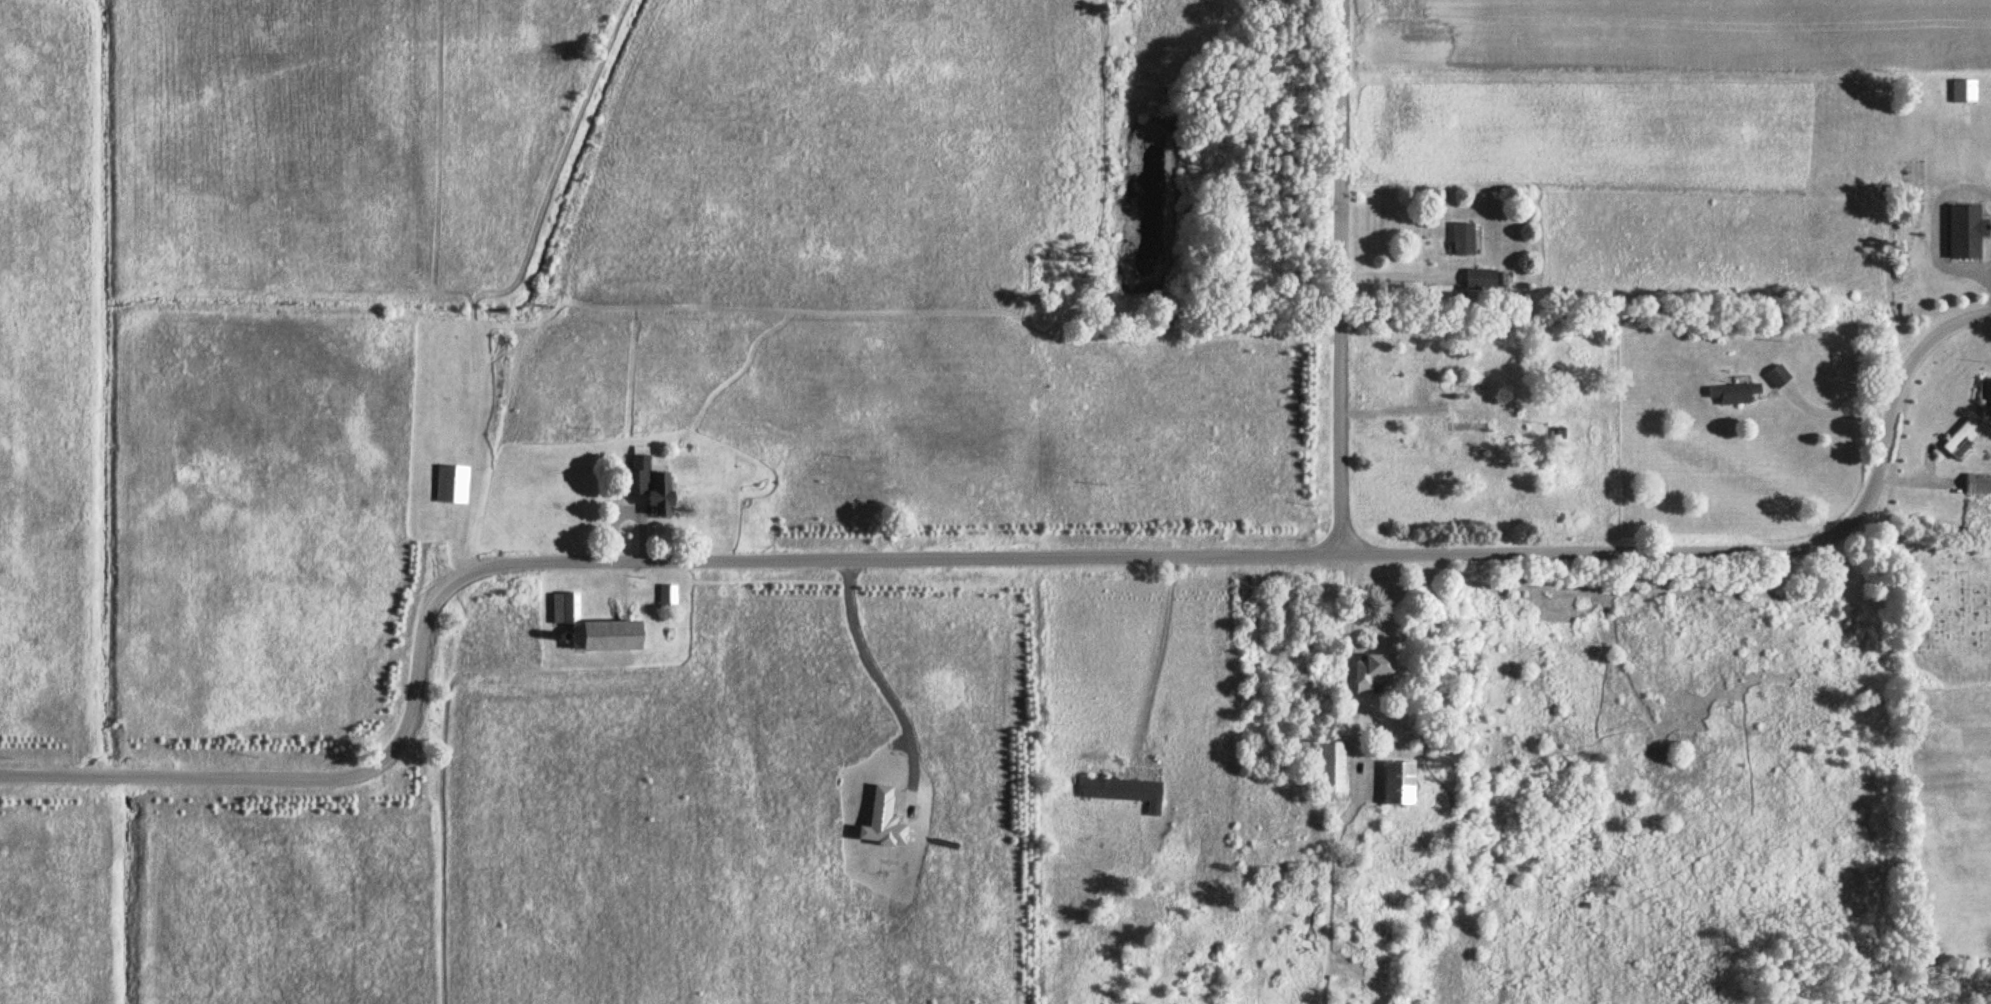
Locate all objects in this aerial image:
building: (1965, 231)
building: (1463, 238)
road: (1342, 275)
road: (1395, 277)
building: (1480, 280)
building: (1778, 376)
building: (1734, 393)
building: (1986, 397)
road: (1832, 414)
building: (641, 462)
building: (452, 484)
building: (1977, 484)
building: (658, 493)
road: (996, 556)
building: (667, 597)
park: (1942, 615)
building: (592, 628)
road: (1150, 653)
road: (870, 673)
building: (1371, 673)
road: (1344, 688)
building: (1331, 767)
building: (1397, 784)
building: (1124, 792)

